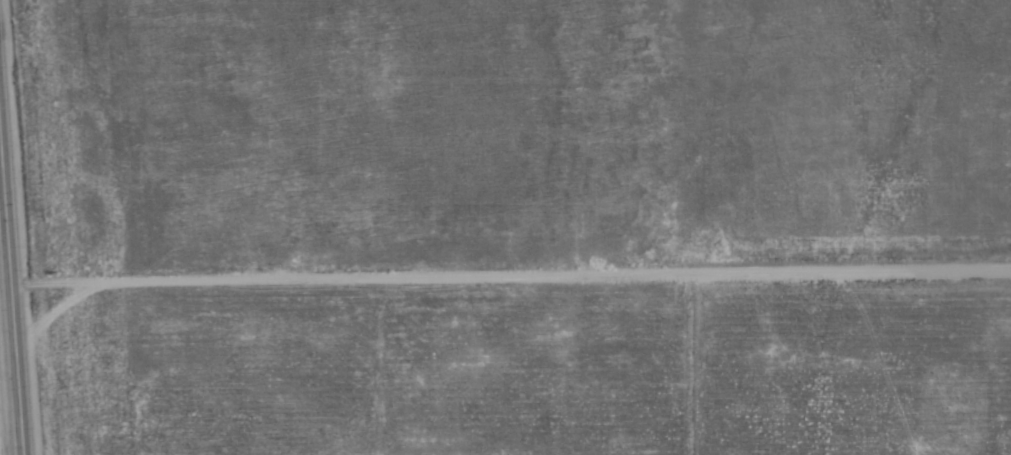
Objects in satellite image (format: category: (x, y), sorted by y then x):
crop: (484, 40)
road: (511, 278)
road: (11, 294)
crop: (3, 403)

